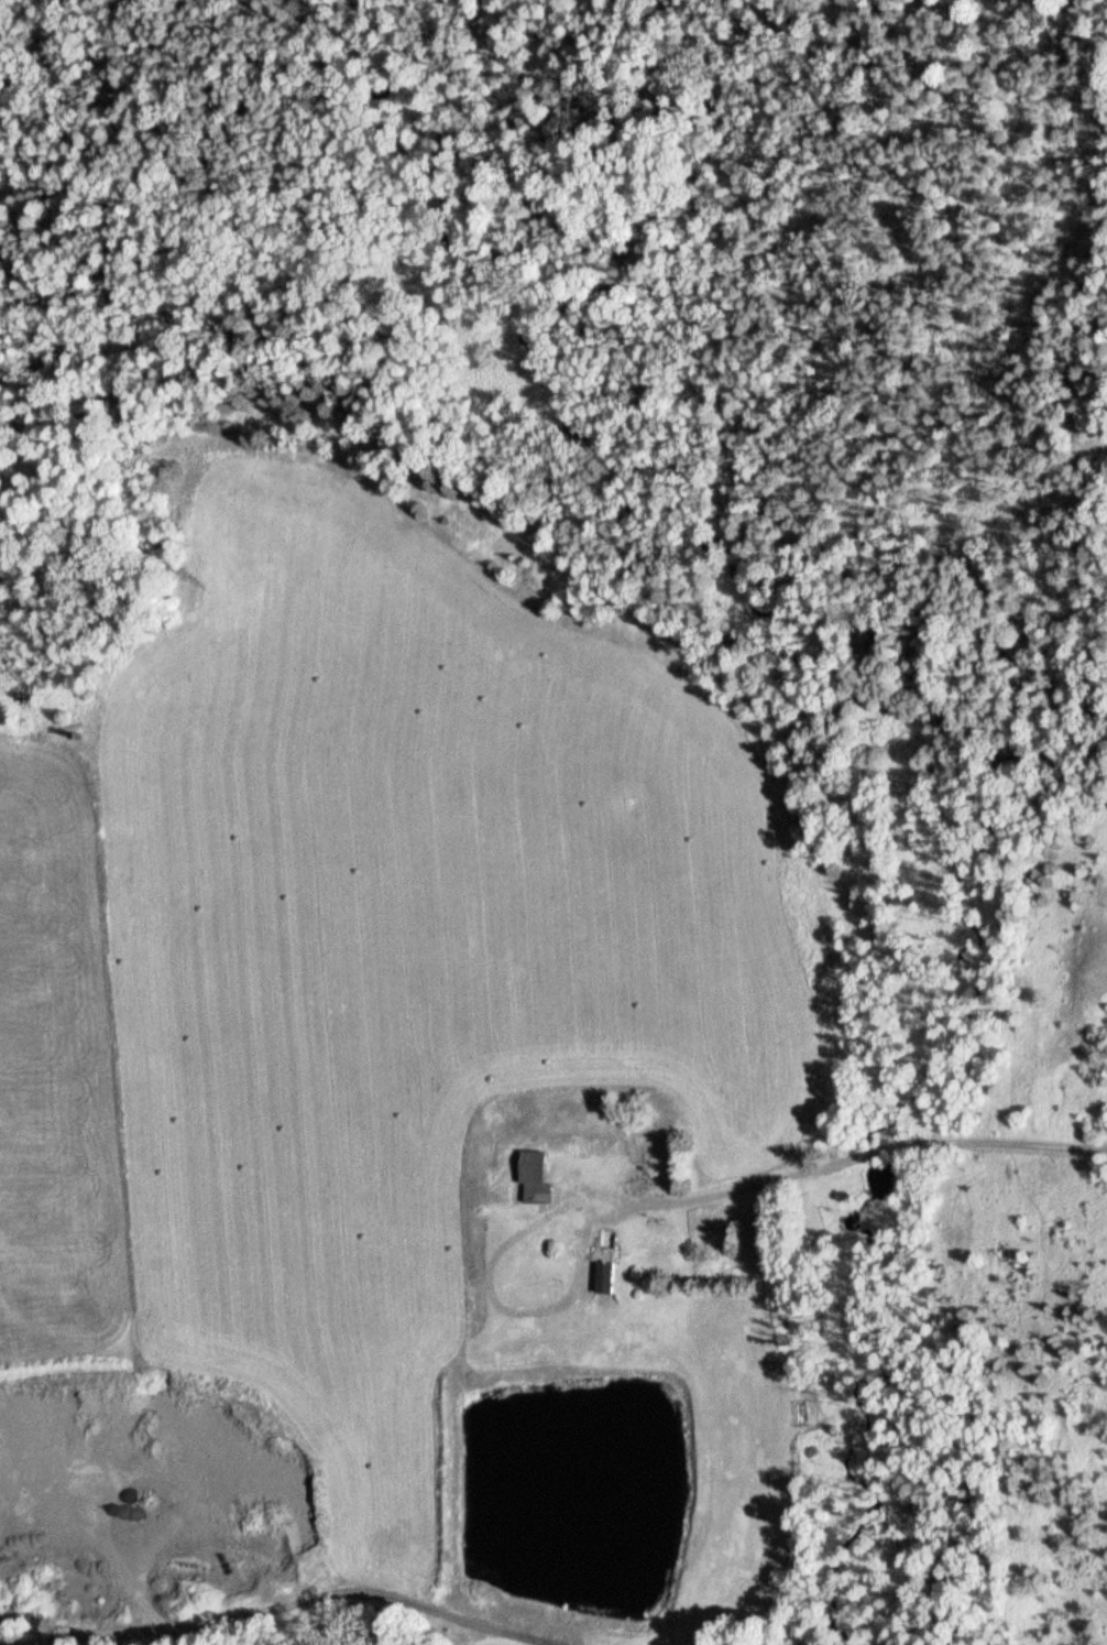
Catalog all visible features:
road: (842, 1162)
building: (535, 1178)
building: (603, 1260)
road: (292, 1604)

